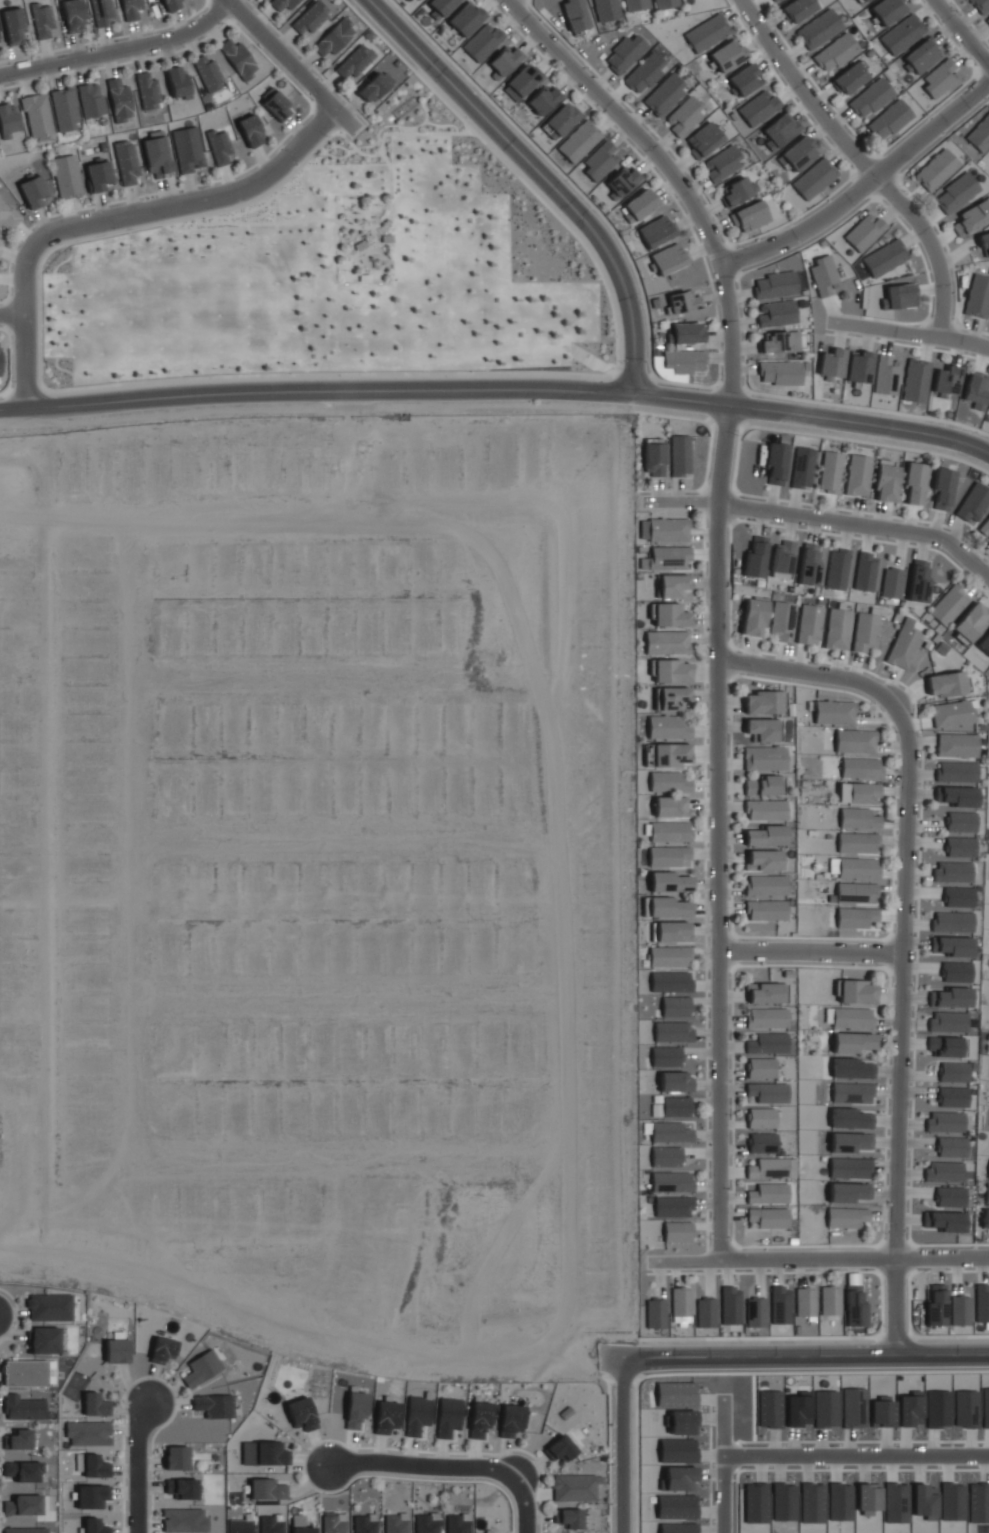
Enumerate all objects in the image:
building: (773, 0)
building: (864, 0)
road: (505, 1)
building: (281, 3)
building: (665, 3)
building: (170, 4)
building: (635, 4)
building: (980, 5)
building: (441, 6)
building: (130, 9)
building: (606, 10)
building: (797, 10)
building: (101, 11)
building: (886, 11)
building: (73, 15)
building: (575, 15)
building: (42, 19)
building: (466, 19)
building: (987, 19)
building: (312, 21)
building: (14, 25)
building: (819, 30)
building: (708, 32)
building: (902, 34)
road: (959, 34)
building: (334, 38)
building: (483, 43)
road: (118, 50)
building: (626, 54)
building: (835, 54)
building: (727, 55)
building: (922, 56)
building: (238, 58)
building: (354, 62)
building: (506, 62)
road: (288, 65)
building: (208, 72)
building: (646, 74)
building: (938, 77)
building: (848, 79)
building: (742, 80)
building: (178, 82)
building: (522, 83)
building: (374, 86)
building: (147, 90)
building: (665, 95)
building: (871, 98)
building: (90, 99)
building: (119, 99)
building: (543, 100)
building: (277, 106)
building: (759, 108)
building: (65, 109)
building: (37, 116)
building: (685, 117)
building: (7, 120)
building: (561, 120)
building: (889, 120)
building: (780, 129)
building: (251, 131)
road: (431, 132)
building: (980, 135)
building: (703, 140)
building: (220, 147)
building: (188, 150)
building: (589, 151)
building: (799, 153)
building: (156, 157)
building: (127, 163)
road: (860, 163)
building: (723, 164)
building: (936, 170)
road: (670, 175)
building: (66, 176)
building: (99, 176)
road: (540, 176)
building: (814, 179)
building: (622, 182)
road: (861, 186)
building: (737, 190)
building: (32, 191)
building: (955, 193)
building: (640, 204)
building: (749, 216)
building: (6, 217)
building: (971, 217)
road: (113, 219)
road: (353, 225)
building: (657, 231)
building: (865, 232)
building: (386, 238)
building: (984, 243)
building: (359, 244)
road: (371, 245)
road: (337, 253)
building: (670, 257)
building: (885, 258)
park: (340, 274)
building: (824, 275)
building: (363, 277)
building: (774, 285)
building: (899, 296)
building: (978, 297)
building: (683, 301)
building: (775, 314)
road: (10, 315)
building: (686, 333)
road: (908, 334)
building: (780, 343)
building: (684, 363)
building: (832, 364)
building: (859, 367)
building: (779, 373)
building: (886, 374)
building: (916, 381)
building: (946, 381)
road: (497, 390)
building: (976, 390)
building: (680, 456)
building: (653, 461)
building: (776, 463)
building: (802, 467)
building: (830, 472)
building: (858, 475)
building: (886, 480)
building: (915, 484)
building: (942, 488)
building: (973, 504)
road: (823, 520)
building: (984, 527)
building: (669, 529)
building: (668, 558)
building: (754, 558)
building: (781, 559)
building: (808, 564)
building: (836, 569)
building: (864, 571)
building: (918, 580)
building: (891, 583)
building: (674, 586)
building: (950, 605)
building: (669, 614)
building: (755, 616)
building: (782, 621)
building: (970, 623)
building: (810, 624)
building: (837, 628)
building: (865, 633)
building: (668, 643)
building: (985, 645)
building: (904, 647)
building: (988, 669)
building: (671, 671)
road: (805, 673)
building: (946, 684)
building: (672, 698)
building: (764, 702)
building: (834, 712)
building: (952, 714)
building: (668, 728)
building: (764, 729)
building: (855, 741)
building: (956, 746)
building: (672, 754)
building: (764, 758)
building: (861, 768)
building: (956, 772)
building: (669, 782)
building: (764, 784)
building: (860, 792)
building: (955, 796)
building: (672, 806)
building: (764, 810)
building: (858, 818)
building: (961, 821)
building: (671, 831)
road: (716, 832)
building: (764, 835)
building: (858, 844)
building: (960, 847)
building: (671, 856)
building: (762, 859)
building: (858, 868)
building: (952, 872)
building: (672, 881)
building: (765, 885)
building: (857, 893)
building: (958, 897)
building: (668, 907)
building: (765, 910)
building: (855, 917)
building: (951, 921)
building: (672, 932)
building: (954, 945)
road: (808, 951)
building: (670, 956)
building: (956, 974)
building: (671, 981)
building: (856, 991)
building: (766, 992)
building: (952, 997)
building: (677, 1006)
building: (766, 1017)
building: (853, 1018)
building: (947, 1021)
road: (897, 1023)
building: (673, 1031)
building: (768, 1043)
building: (854, 1043)
building: (944, 1045)
building: (667, 1057)
building: (761, 1068)
building: (852, 1068)
building: (953, 1074)
building: (676, 1082)
building: (766, 1092)
building: (852, 1092)
building: (952, 1096)
building: (672, 1108)
building: (761, 1118)
building: (851, 1118)
building: (944, 1121)
building: (671, 1133)
building: (850, 1142)
building: (762, 1143)
building: (951, 1146)
building: (667, 1157)
building: (849, 1167)
building: (771, 1168)
building: (943, 1171)
building: (988, 1172)
building: (673, 1183)
building: (848, 1192)
building: (769, 1194)
building: (950, 1196)
building: (987, 1196)
building: (674, 1207)
building: (846, 1216)
building: (769, 1218)
building: (985, 1218)
building: (946, 1221)
building: (678, 1231)
road: (818, 1260)
building: (830, 1300)
building: (805, 1302)
building: (681, 1303)
building: (982, 1303)
building: (780, 1304)
building: (732, 1305)
building: (854, 1305)
building: (936, 1305)
building: (47, 1307)
building: (960, 1310)
building: (756, 1312)
building: (706, 1313)
building: (656, 1314)
road: (292, 1330)
building: (43, 1340)
building: (162, 1349)
building: (116, 1350)
road: (790, 1353)
building: (201, 1368)
building: (23, 1373)
building: (95, 1404)
building: (213, 1405)
building: (21, 1407)
building: (355, 1409)
building: (301, 1413)
building: (417, 1414)
building: (386, 1416)
building: (448, 1416)
building: (479, 1418)
building: (510, 1420)
building: (88, 1433)
building: (19, 1439)
road: (622, 1445)
building: (560, 1447)
building: (264, 1453)
road: (608, 1453)
building: (176, 1457)
road: (854, 1457)
building: (91, 1465)
road: (424, 1466)
road: (137, 1467)
road: (719, 1468)
building: (22, 1470)
building: (574, 1487)
building: (183, 1488)
building: (266, 1489)
building: (92, 1496)
building: (22, 1504)
road: (524, 1504)
building: (570, 1517)
building: (183, 1520)
building: (364, 1523)
building: (395, 1523)
building: (426, 1523)
building: (457, 1523)
building: (271, 1524)
building: (239, 1525)
building: (300, 1525)
building: (94, 1526)
building: (24, 1530)

